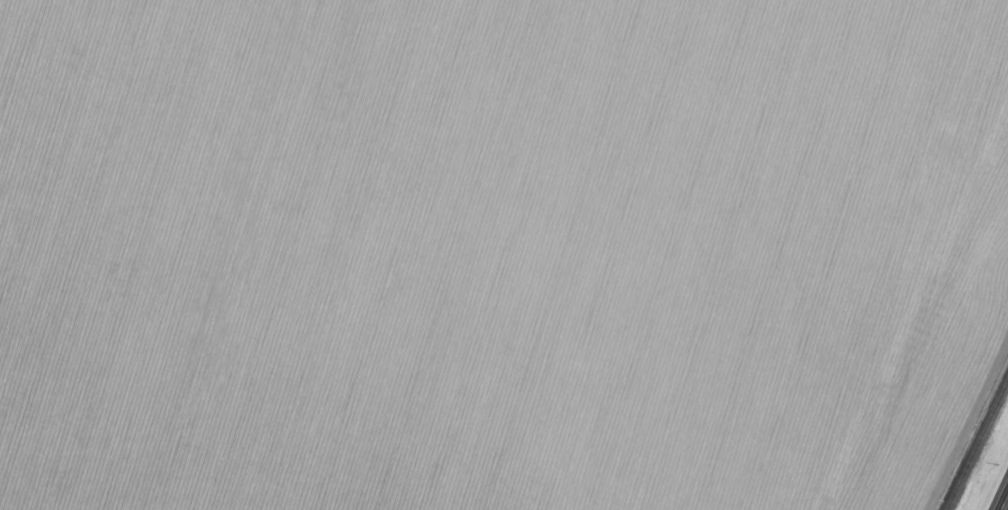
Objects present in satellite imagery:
railway: (977, 445)
road: (1006, 506)

